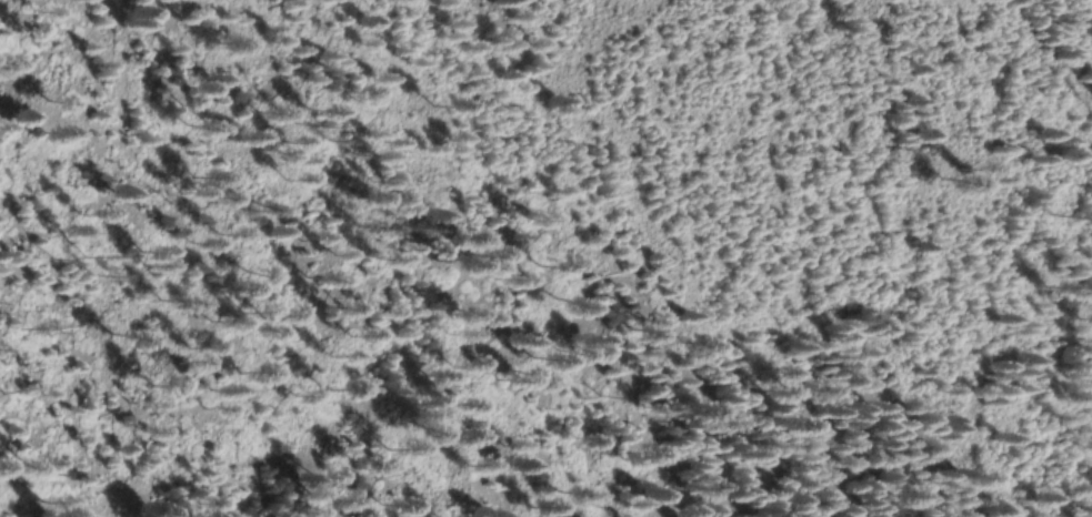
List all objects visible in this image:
road: (29, 8)

